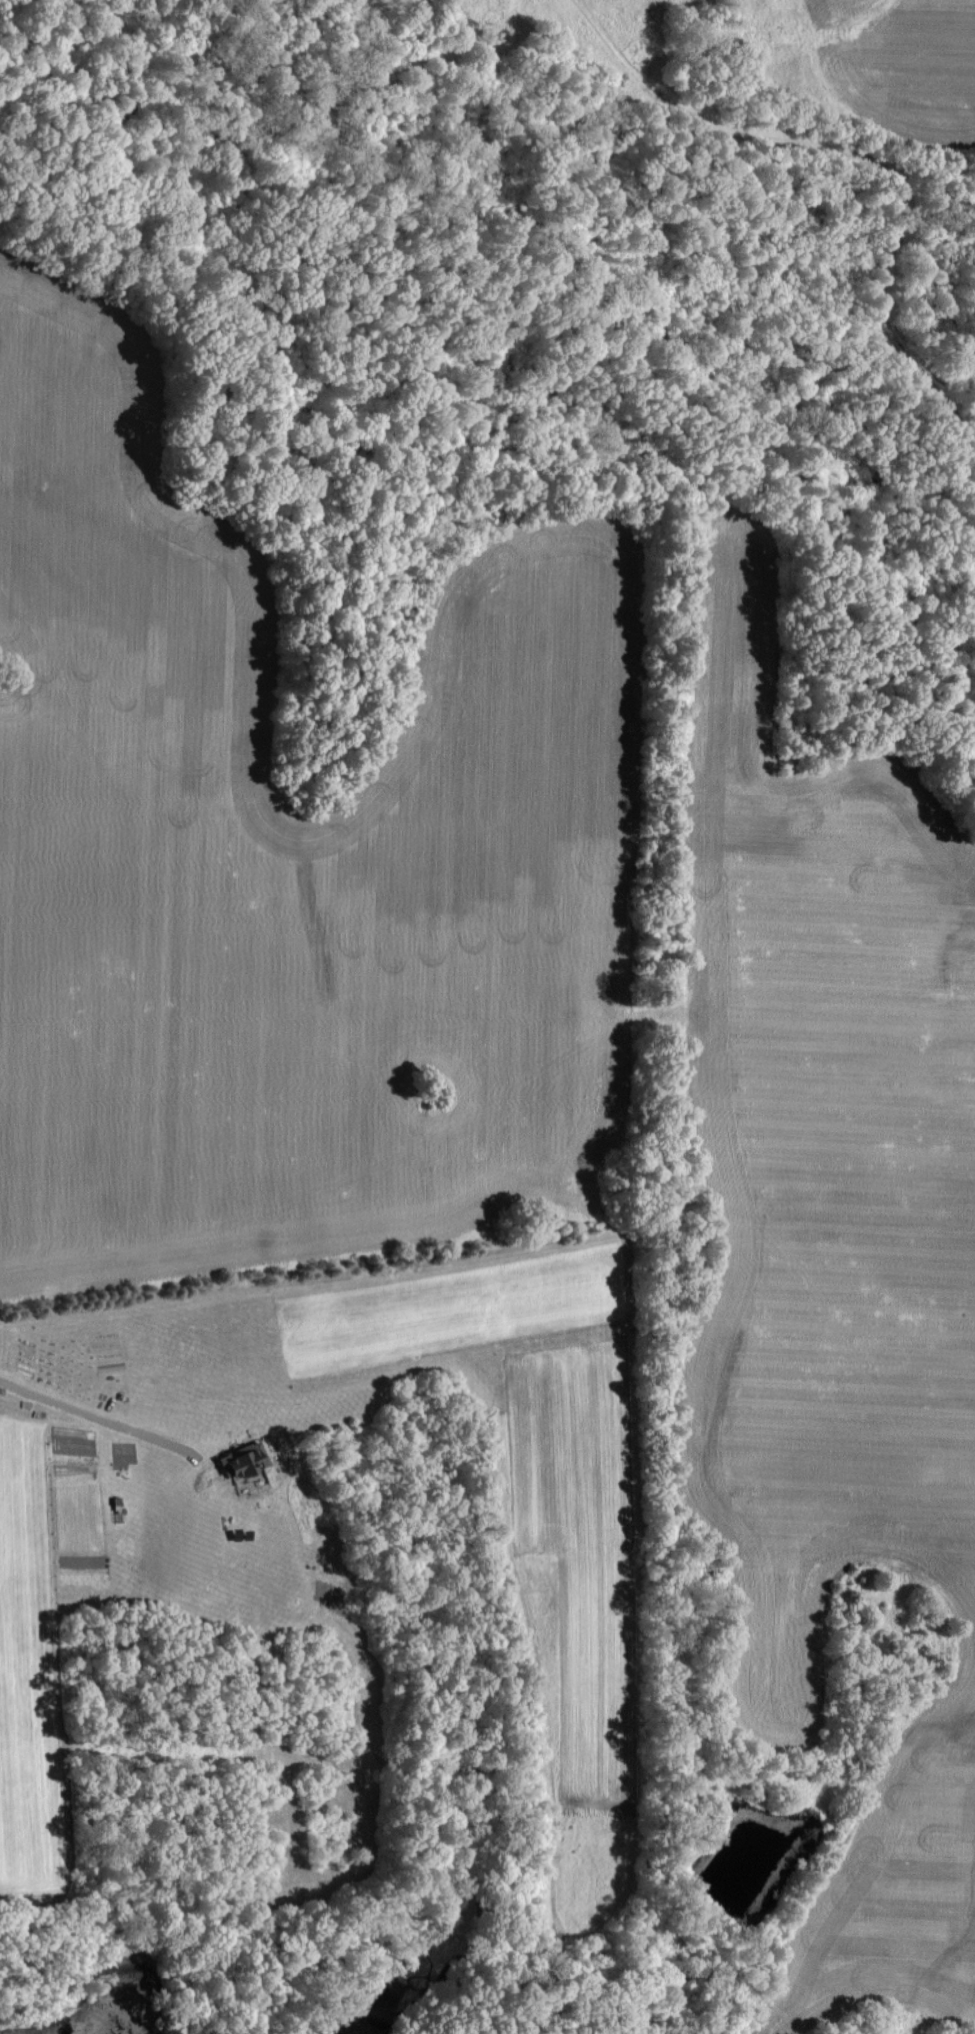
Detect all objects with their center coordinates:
road: (93, 1417)

